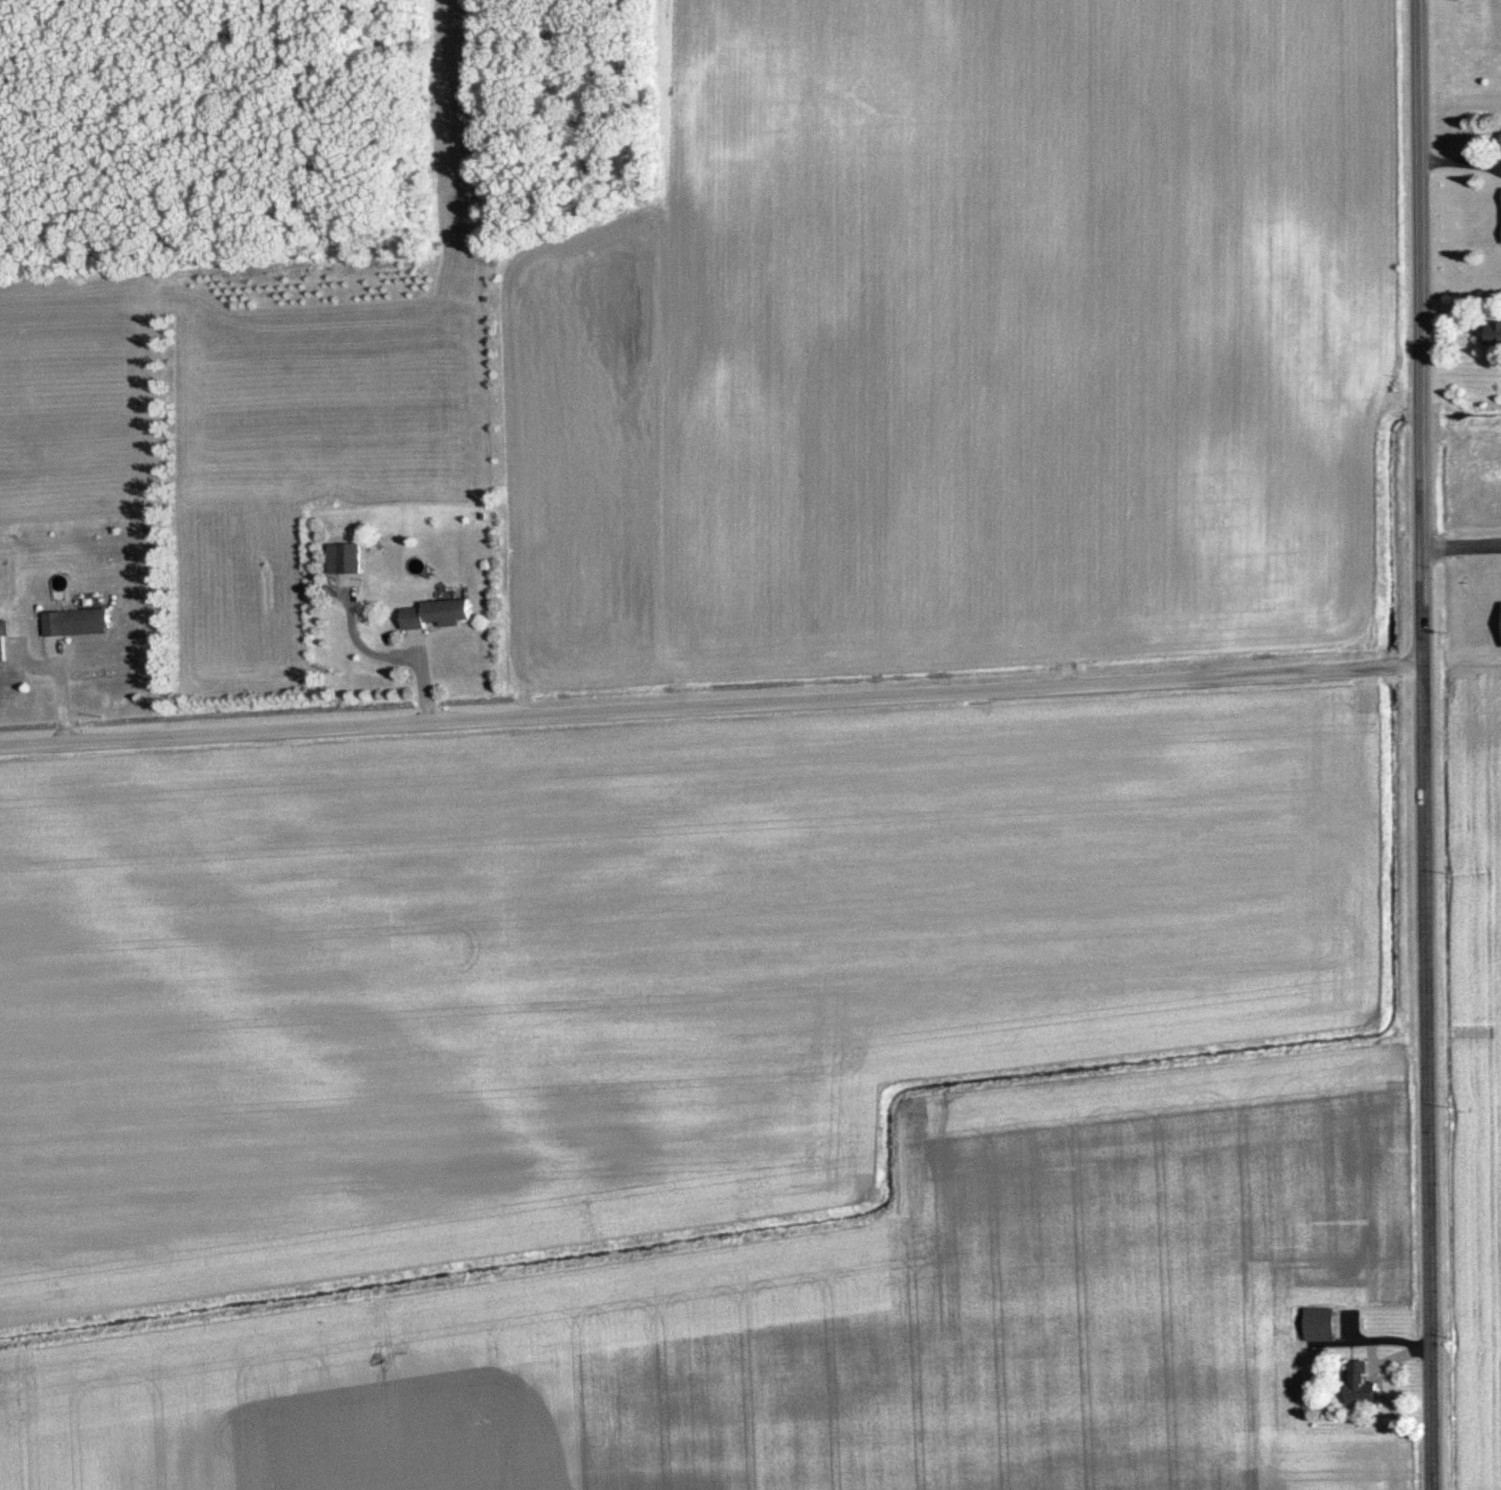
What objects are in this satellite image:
road: (1459, 146)
building: (1495, 333)
road: (1461, 526)
building: (351, 556)
building: (439, 613)
building: (77, 621)
road: (44, 688)
road: (711, 691)
road: (1423, 745)
building: (1322, 1324)
building: (1362, 1385)

